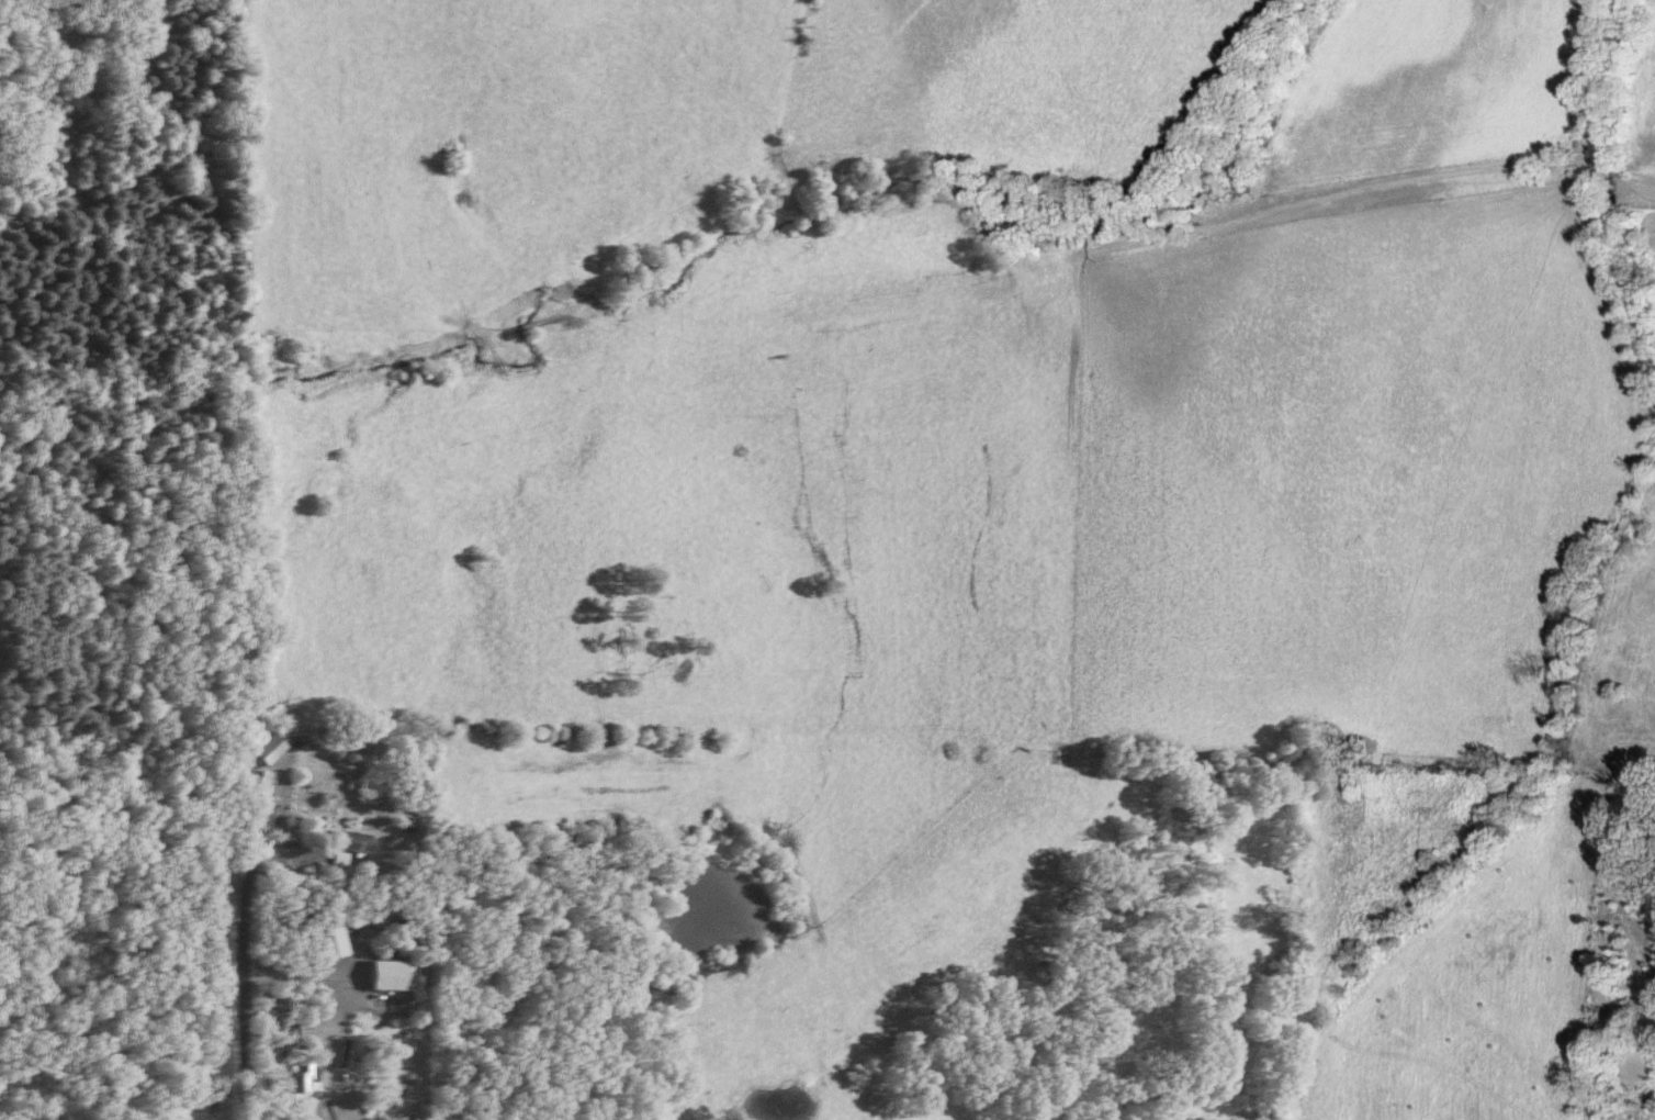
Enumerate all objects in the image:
building: (275, 747)
building: (266, 815)
building: (353, 843)
road: (248, 930)
building: (336, 941)
building: (395, 974)

